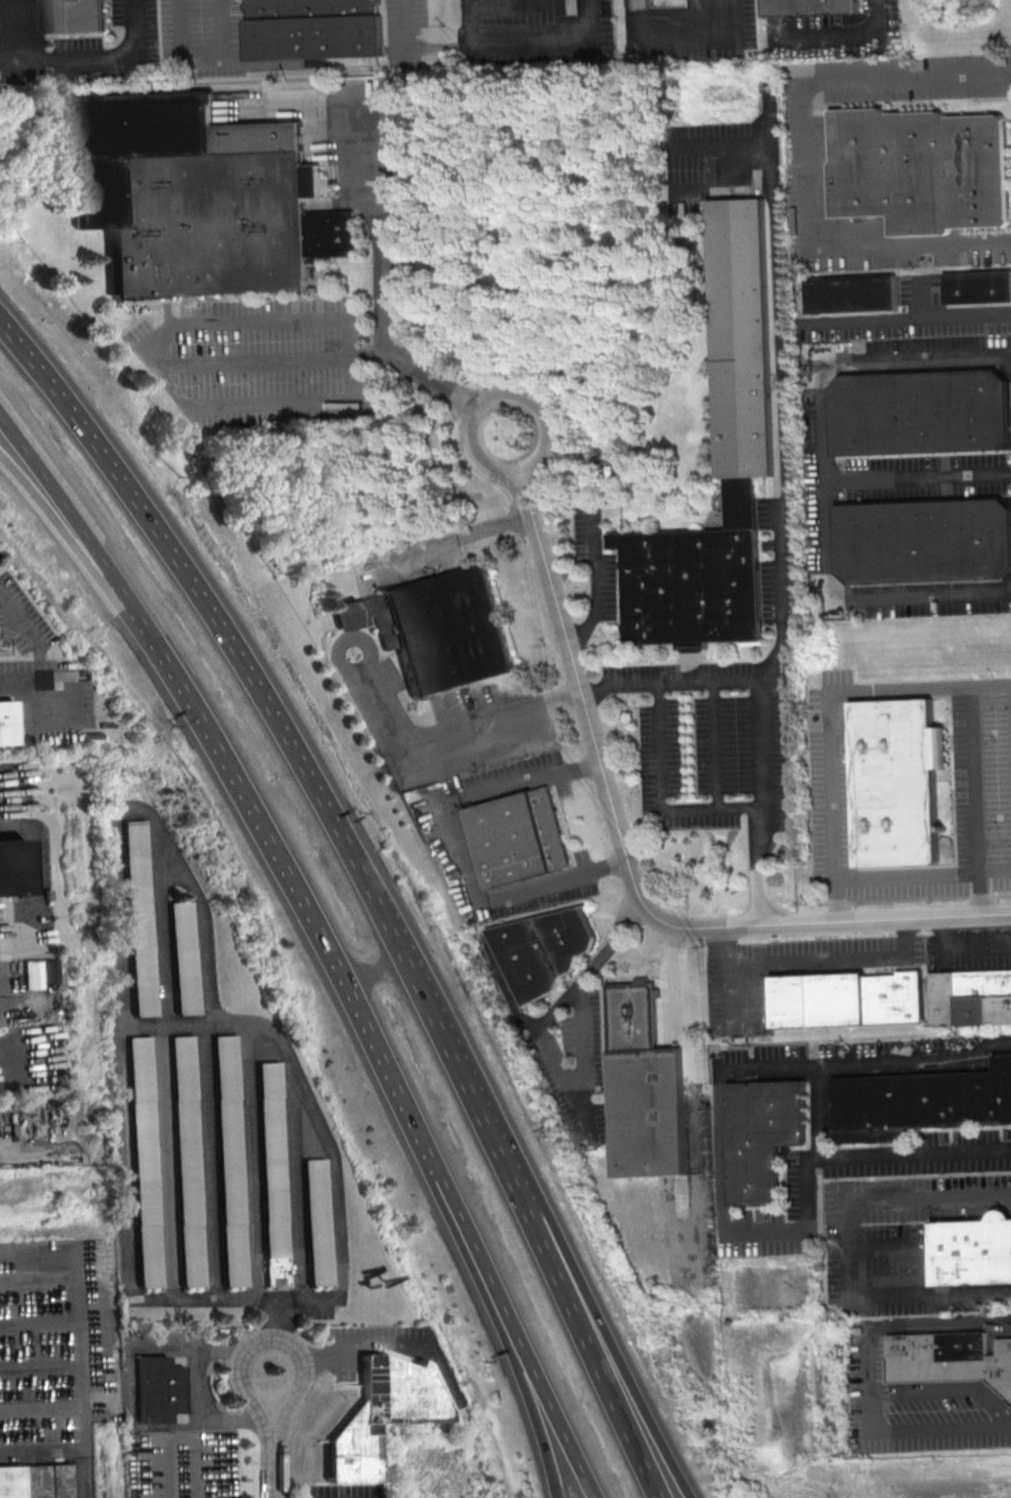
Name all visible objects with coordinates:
building: (643, 3)
building: (810, 6)
building: (71, 14)
road: (406, 26)
building: (312, 28)
road: (706, 28)
parking lot: (692, 30)
parking lot: (532, 32)
parking lot: (406, 33)
road: (843, 33)
parking lot: (838, 34)
parking lot: (202, 36)
road: (491, 41)
parking lot: (93, 49)
road: (92, 55)
road: (200, 57)
road: (808, 161)
building: (918, 168)
parking lot: (805, 172)
building: (196, 195)
road: (380, 231)
building: (976, 285)
building: (851, 292)
road: (920, 299)
road: (908, 317)
building: (742, 337)
parking lot: (263, 360)
road: (255, 361)
road: (411, 368)
road: (779, 371)
road: (493, 391)
road: (195, 402)
building: (919, 409)
road: (917, 474)
road: (823, 475)
parking lot: (894, 477)
road: (56, 495)
road: (54, 519)
building: (921, 540)
parking lot: (778, 559)
parking lot: (592, 563)
road: (593, 584)
road: (205, 601)
road: (15, 618)
building: (438, 629)
road: (348, 640)
building: (1, 648)
road: (13, 684)
parking lot: (440, 718)
road: (67, 720)
building: (7, 725)
road: (463, 725)
parking lot: (708, 742)
road: (713, 742)
road: (974, 779)
building: (896, 780)
road: (830, 781)
parking lot: (982, 782)
road: (12, 799)
road: (732, 807)
road: (138, 811)
parking lot: (443, 828)
road: (266, 834)
building: (517, 836)
road: (621, 842)
road: (453, 845)
road: (757, 865)
building: (11, 867)
road: (35, 888)
road: (979, 893)
road: (835, 899)
road: (982, 912)
building: (142, 917)
road: (164, 927)
road: (961, 947)
building: (542, 949)
building: (186, 955)
road: (835, 957)
road: (591, 966)
road: (374, 969)
building: (29, 974)
road: (727, 987)
building: (971, 996)
building: (847, 997)
parking lot: (738, 1001)
road: (243, 1021)
road: (27, 1050)
parking lot: (575, 1066)
building: (642, 1087)
road: (689, 1088)
road: (571, 1096)
building: (920, 1101)
road: (818, 1107)
building: (761, 1135)
road: (9, 1153)
building: (272, 1158)
road: (251, 1159)
road: (166, 1160)
road: (209, 1160)
building: (146, 1162)
building: (231, 1162)
building: (189, 1164)
road: (295, 1179)
road: (724, 1180)
parking lot: (802, 1194)
road: (527, 1199)
building: (317, 1220)
parking lot: (900, 1243)
road: (884, 1244)
road: (847, 1245)
building: (971, 1250)
building: (277, 1272)
road: (486, 1297)
road: (229, 1298)
road: (497, 1300)
parking lot: (289, 1303)
road: (37, 1325)
road: (940, 1327)
road: (606, 1331)
parking lot: (379, 1333)
road: (397, 1334)
road: (271, 1338)
parking lot: (58, 1341)
road: (76, 1349)
building: (949, 1357)
road: (321, 1359)
road: (870, 1359)
road: (38, 1368)
building: (161, 1390)
road: (199, 1399)
parking lot: (912, 1401)
road: (871, 1403)
road: (39, 1406)
building: (375, 1414)
road: (151, 1440)
road: (39, 1446)
road: (274, 1448)
parking lot: (183, 1464)
road: (217, 1469)
building: (35, 1482)
parking lot: (343, 1491)

